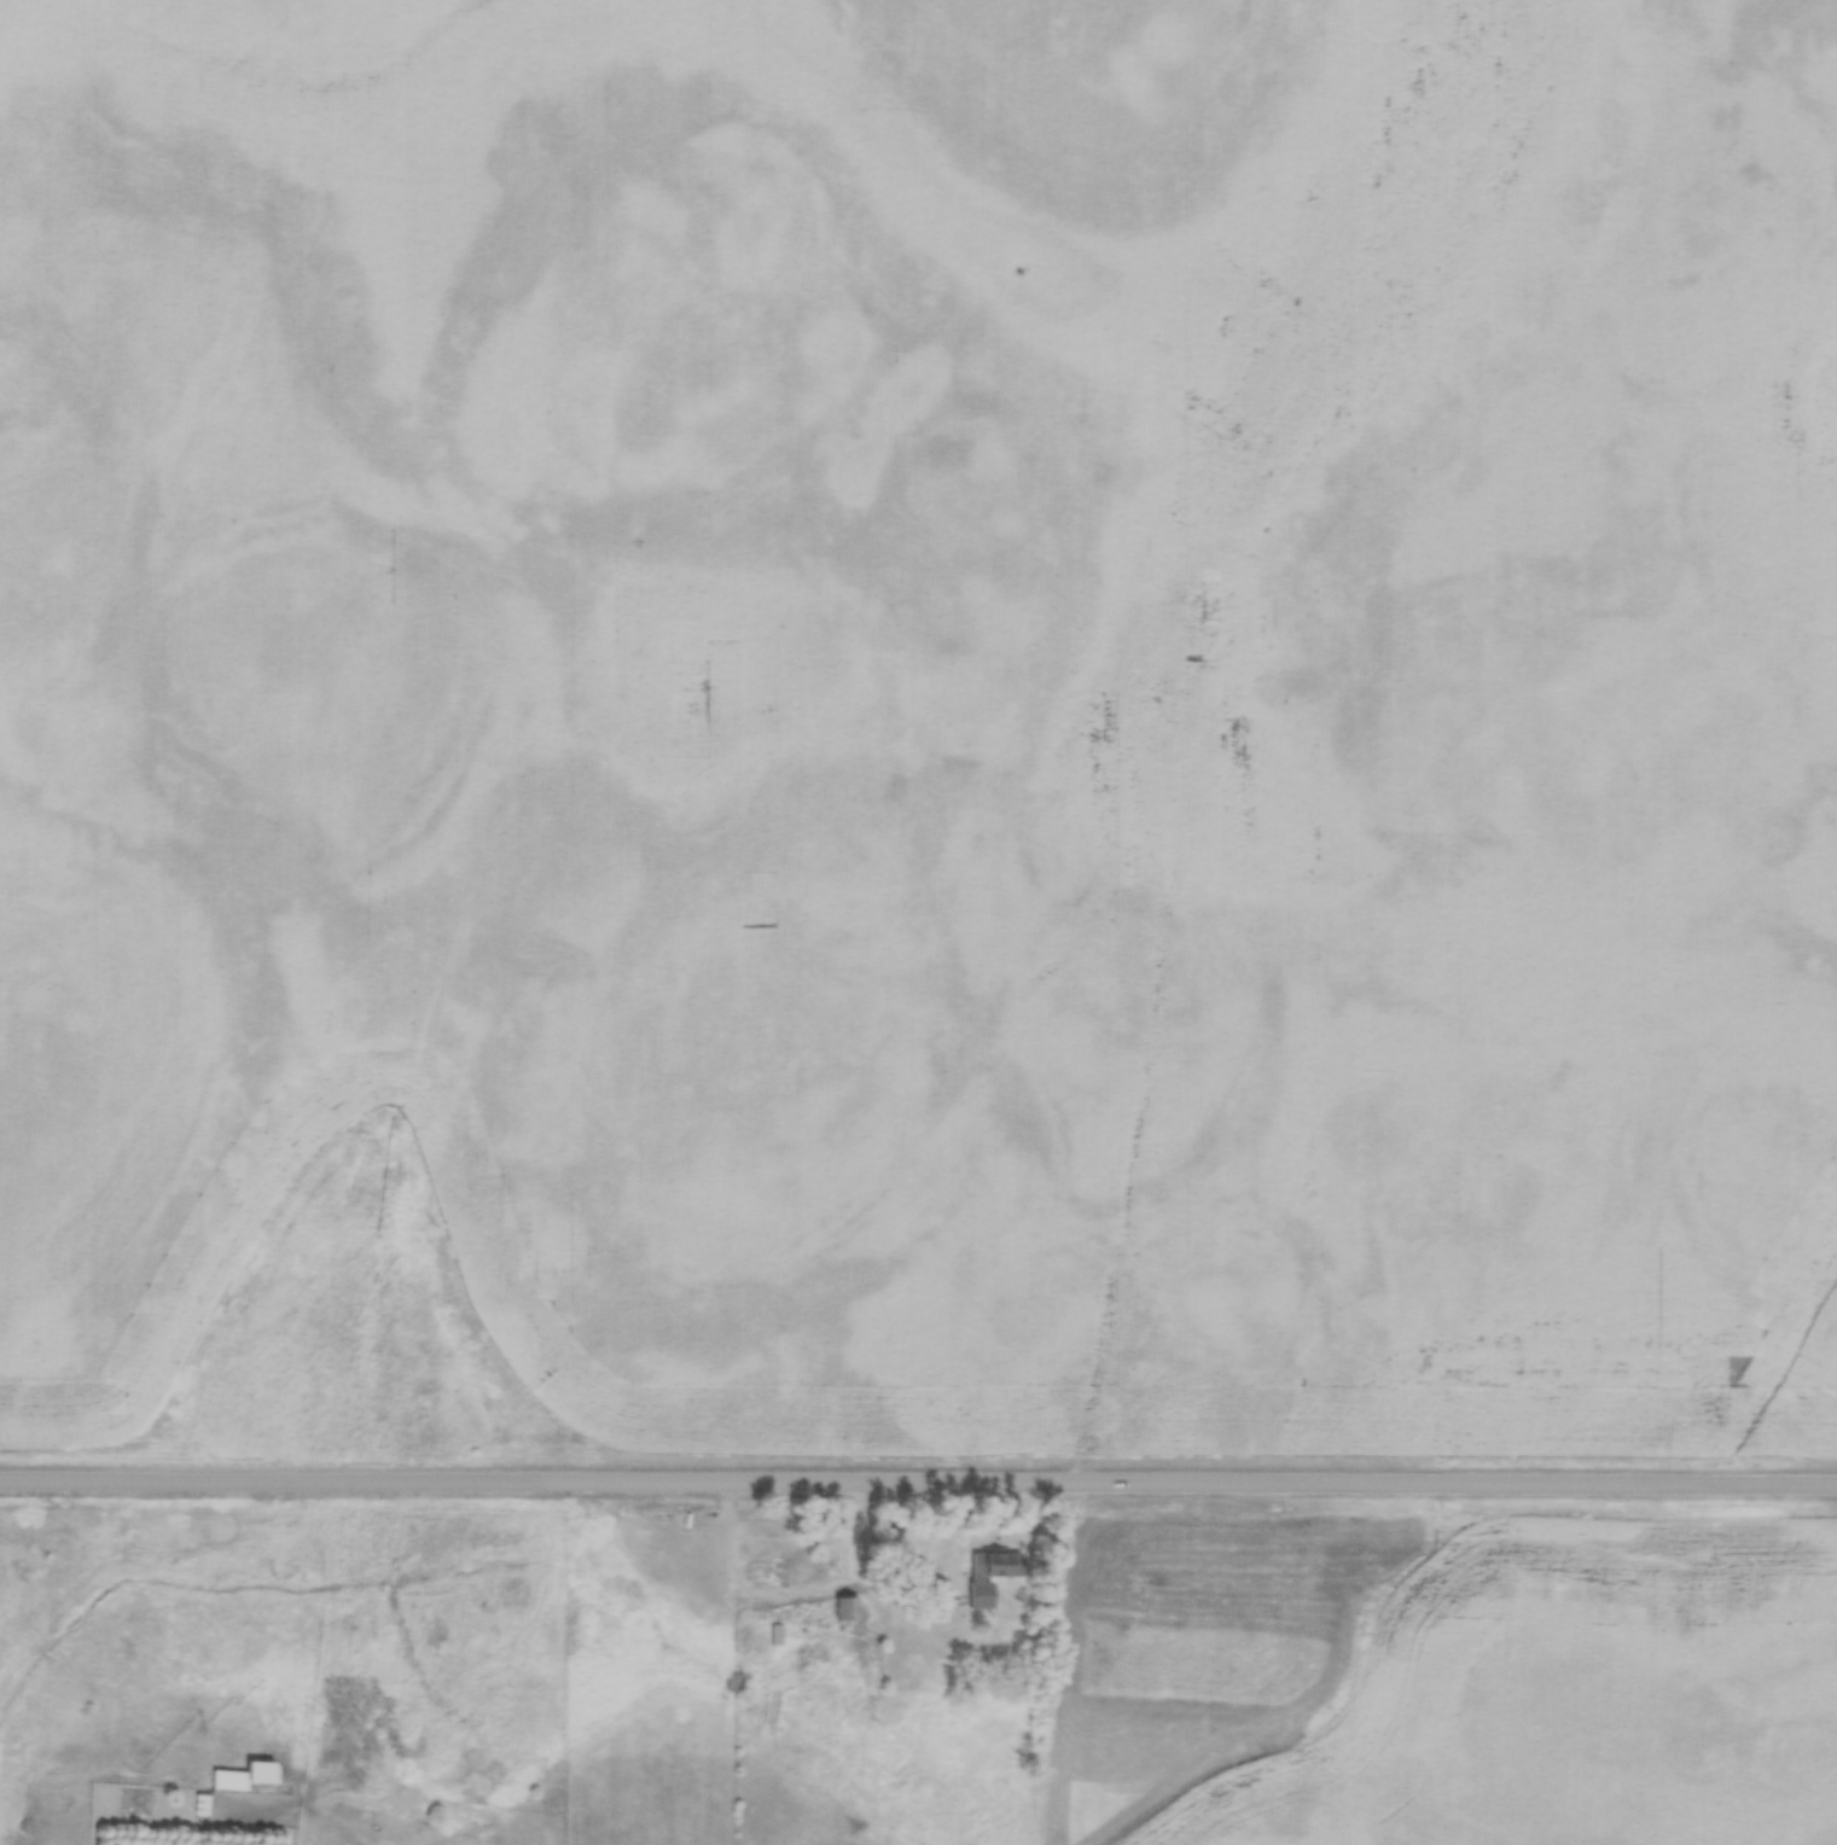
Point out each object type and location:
road: (918, 1484)
building: (984, 1576)
building: (841, 1608)
building: (225, 1781)
building: (197, 1805)

